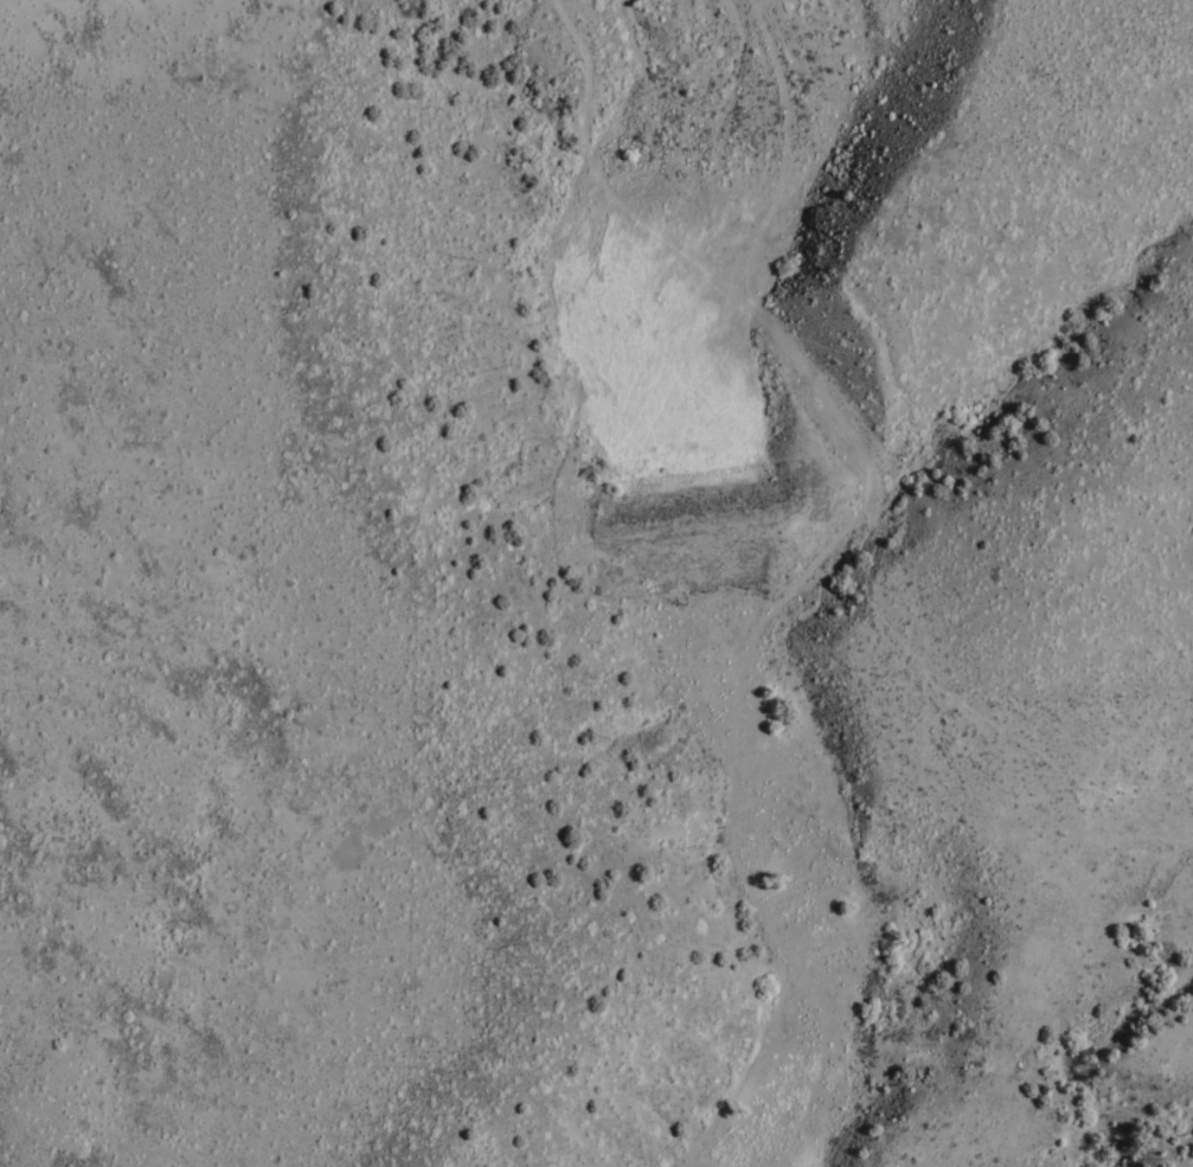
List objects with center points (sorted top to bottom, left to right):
road: (957, 493)

